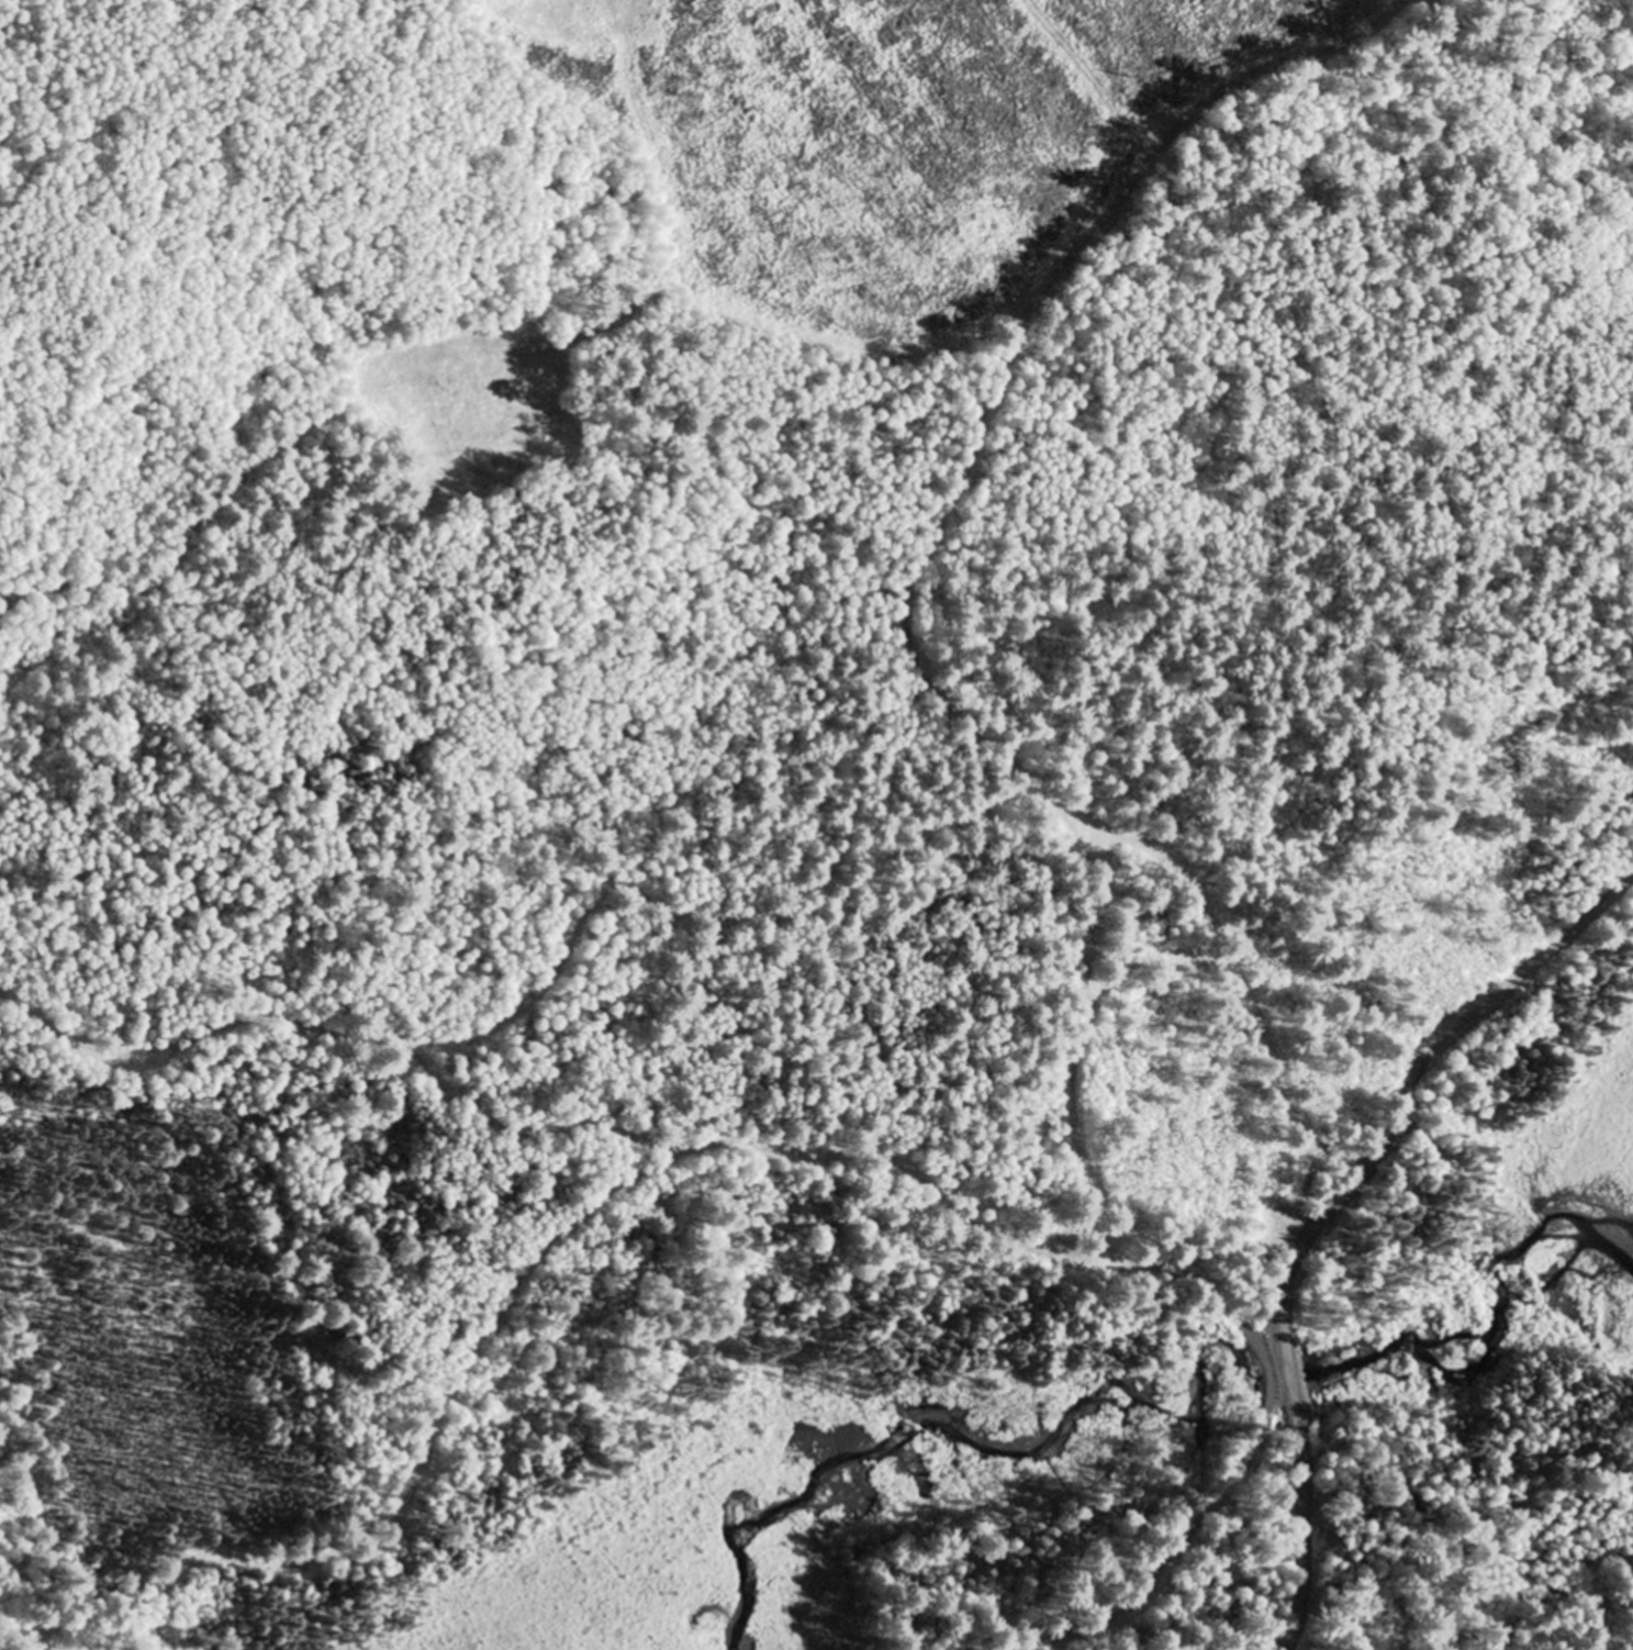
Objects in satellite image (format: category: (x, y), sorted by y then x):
road: (1327, 1209)

